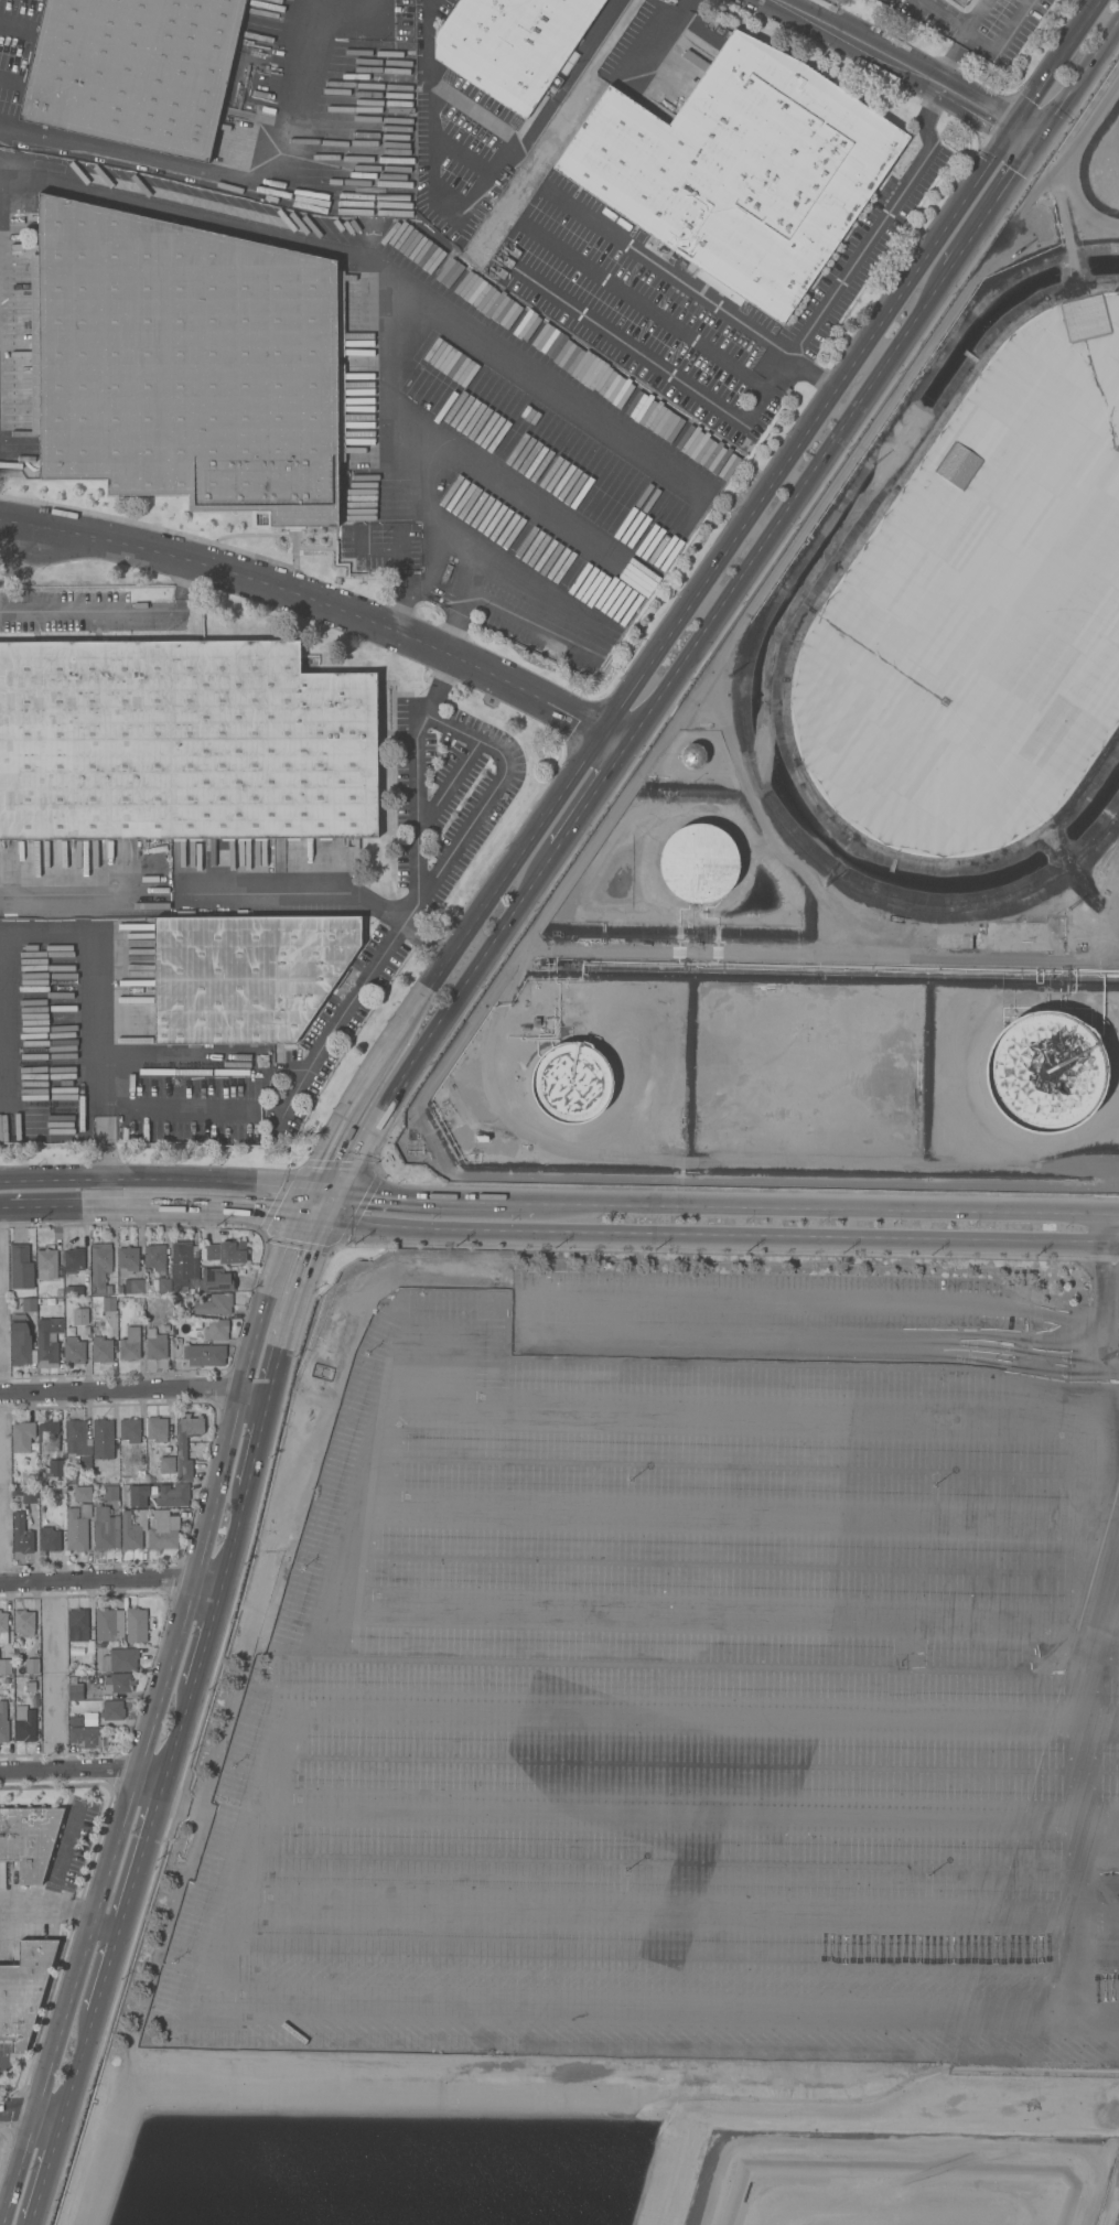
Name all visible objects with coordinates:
building: (961, 2)
road: (357, 4)
road: (383, 4)
road: (943, 17)
road: (648, 29)
road: (981, 40)
building: (516, 45)
road: (589, 45)
road: (901, 61)
road: (1057, 63)
building: (139, 73)
road: (1079, 86)
road: (1027, 135)
road: (432, 160)
road: (1076, 164)
building: (743, 173)
road: (224, 182)
road: (193, 212)
road: (988, 218)
road: (869, 236)
road: (667, 271)
road: (644, 307)
building: (187, 361)
road: (649, 361)
road: (809, 374)
road: (787, 523)
road: (25, 549)
road: (404, 550)
road: (718, 562)
road: (431, 566)
road: (460, 601)
road: (325, 608)
road: (630, 609)
road: (110, 610)
road: (399, 610)
building: (980, 617)
road: (437, 681)
road: (455, 725)
building: (185, 743)
building: (693, 755)
road: (588, 808)
building: (68, 852)
building: (80, 854)
building: (93, 854)
building: (104, 854)
building: (40, 857)
building: (699, 862)
building: (68, 866)
building: (85, 870)
building: (101, 870)
building: (68, 878)
building: (46, 881)
road: (220, 890)
building: (248, 979)
road: (106, 1015)
building: (1085, 1017)
road: (439, 1028)
road: (311, 1065)
building: (1045, 1071)
building: (572, 1082)
road: (364, 1092)
road: (158, 1181)
traffic signals: (316, 1191)
road: (331, 1192)
traffic signals: (347, 1193)
road: (462, 1201)
road: (309, 1204)
road: (166, 1206)
road: (56, 1207)
road: (843, 1208)
road: (261, 1211)
road: (1113, 1215)
traffic signals: (301, 1218)
traffic signals: (332, 1219)
road: (295, 1225)
road: (380, 1227)
road: (1107, 1229)
road: (784, 1237)
road: (1112, 1244)
building: (227, 1251)
building: (155, 1256)
building: (73, 1259)
building: (128, 1259)
building: (46, 1264)
building: (99, 1266)
building: (181, 1266)
building: (21, 1267)
building: (217, 1279)
building: (133, 1286)
building: (164, 1286)
building: (74, 1290)
road: (300, 1291)
road: (600, 1292)
building: (109, 1303)
building: (29, 1304)
building: (214, 1304)
road: (1105, 1314)
building: (80, 1315)
road: (1111, 1329)
building: (216, 1330)
road: (997, 1335)
building: (21, 1340)
building: (49, 1341)
road: (1074, 1342)
building: (130, 1344)
building: (157, 1345)
road: (989, 1345)
building: (74, 1350)
building: (101, 1350)
building: (204, 1354)
road: (993, 1361)
road: (135, 1390)
building: (157, 1428)
building: (130, 1430)
building: (49, 1433)
building: (22, 1436)
building: (103, 1439)
building: (78, 1443)
building: (182, 1447)
road: (257, 1448)
building: (168, 1464)
building: (56, 1468)
building: (103, 1474)
building: (110, 1492)
building: (82, 1493)
building: (172, 1493)
building: (25, 1494)
building: (85, 1509)
road: (356, 1514)
building: (105, 1528)
building: (132, 1529)
building: (76, 1530)
building: (163, 1530)
building: (21, 1534)
building: (50, 1539)
road: (234, 1543)
road: (111, 1582)
building: (24, 1622)
building: (77, 1624)
building: (109, 1624)
building: (136, 1624)
building: (3, 1630)
road: (205, 1641)
building: (120, 1659)
building: (6, 1666)
building: (32, 1666)
building: (118, 1683)
building: (75, 1691)
road: (430, 1708)
building: (112, 1710)
road: (913, 1715)
building: (75, 1721)
building: (3, 1722)
building: (24, 1723)
road: (150, 1729)
building: (85, 1737)
road: (177, 1739)
road: (84, 1773)
road: (1096, 1799)
building: (29, 1839)
road: (1073, 1841)
road: (141, 1859)
road: (61, 1910)
road: (654, 1916)
road: (105, 1978)
building: (23, 1990)
road: (530, 2004)
road: (76, 2071)
road: (30, 2114)
road: (45, 2173)

